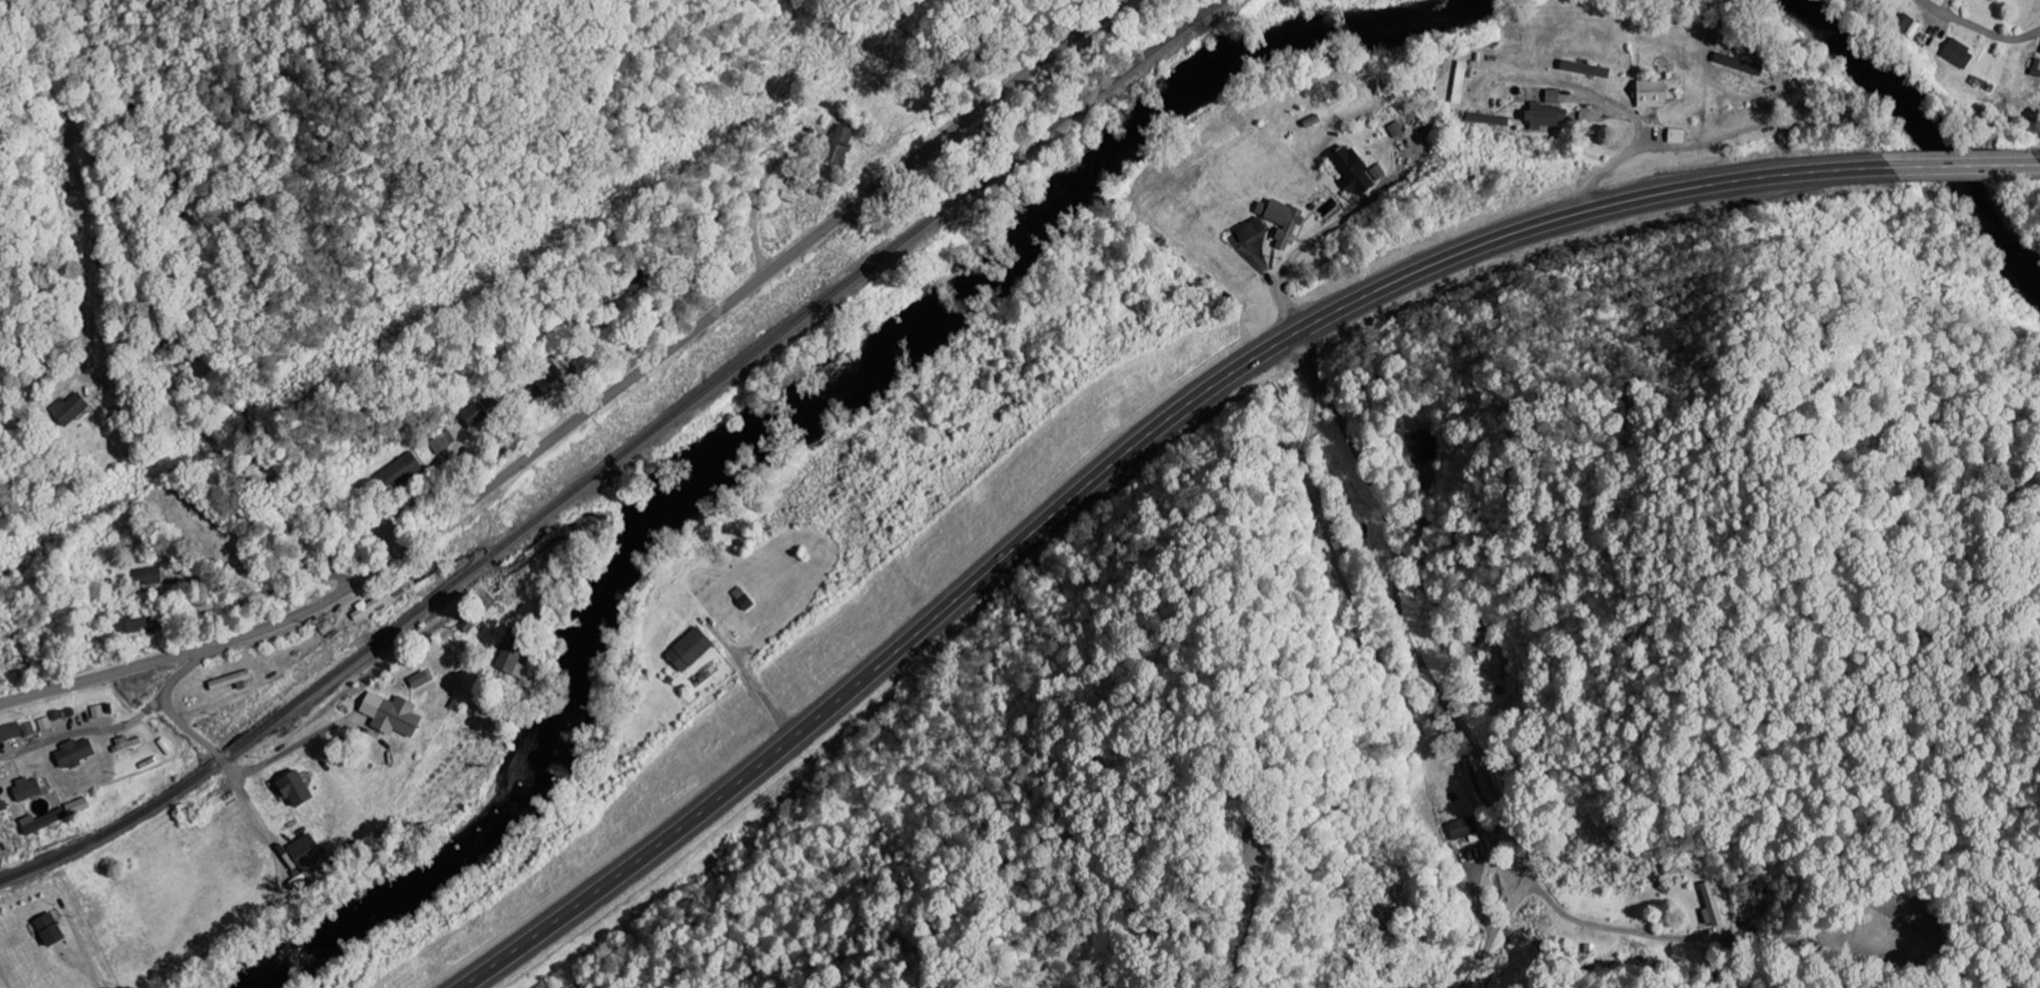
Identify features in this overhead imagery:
road: (1048, 20)
road: (1980, 29)
building: (1960, 54)
building: (1740, 64)
building: (2037, 67)
building: (1588, 69)
building: (1462, 82)
building: (1655, 94)
building: (1554, 96)
building: (1587, 115)
building: (1547, 116)
building: (1489, 119)
river: (1925, 127)
building: (1397, 130)
building: (1678, 136)
building: (840, 145)
road: (2037, 163)
road: (1613, 165)
road: (1962, 166)
building: (1353, 171)
building: (1379, 172)
building: (1283, 221)
building: (1251, 230)
building: (70, 409)
road: (592, 409)
building: (477, 415)
river: (790, 418)
building: (442, 442)
building: (1422, 448)
railway: (622, 452)
road: (1118, 460)
building: (400, 473)
building: (1340, 540)
building: (148, 576)
road: (289, 589)
building: (371, 606)
building: (132, 622)
building: (471, 622)
building: (691, 649)
building: (514, 654)
building: (1497, 662)
building: (421, 679)
building: (98, 711)
road: (1451, 712)
building: (394, 714)
road: (42, 723)
building: (45, 723)
building: (28, 729)
building: (10, 732)
building: (127, 743)
building: (76, 752)
road: (220, 755)
building: (28, 788)
building: (297, 788)
building: (79, 806)
building: (44, 821)
building: (1463, 829)
building: (312, 858)
building: (1712, 905)
building: (51, 929)

